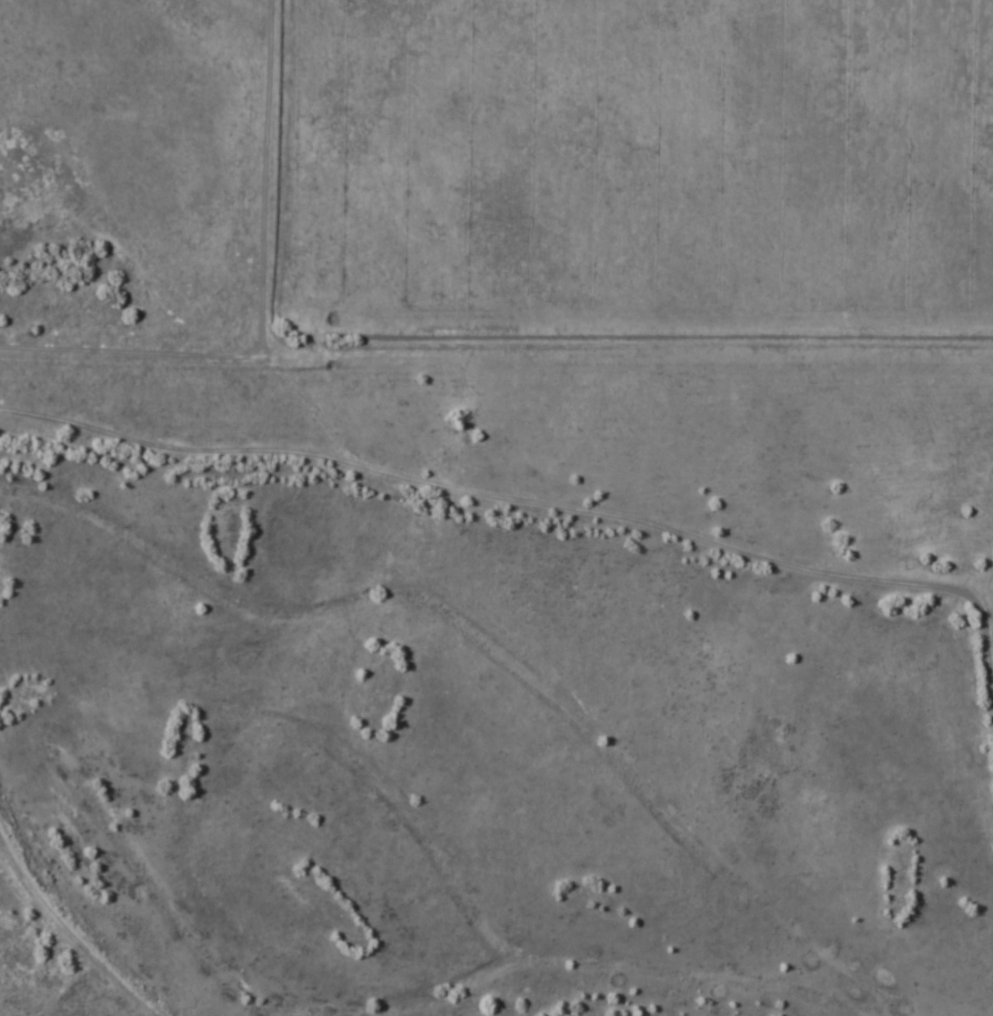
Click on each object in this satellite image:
crop: (631, 173)
road: (472, 355)
road: (135, 728)

